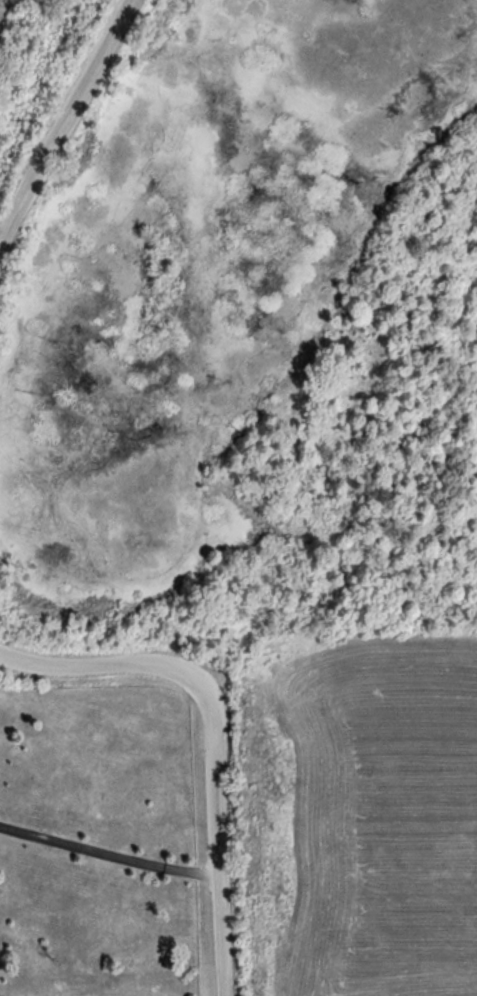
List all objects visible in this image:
road: (65, 122)
road: (215, 733)
road: (110, 855)

